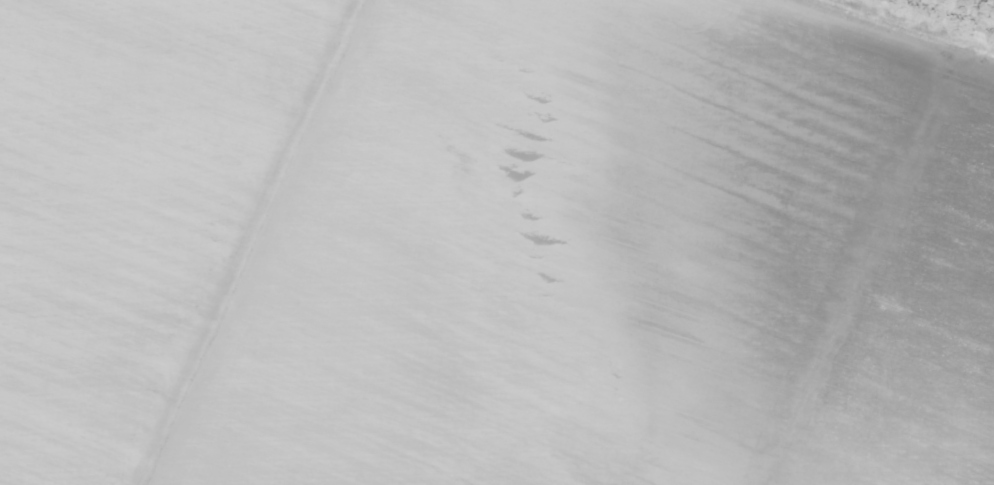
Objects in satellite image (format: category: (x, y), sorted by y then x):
railway: (945, 15)

